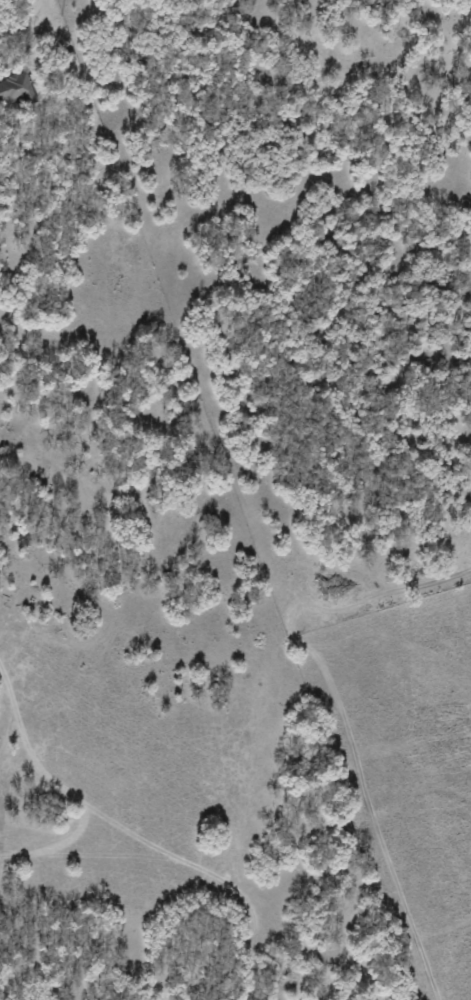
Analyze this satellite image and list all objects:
road: (41, 16)
building: (15, 88)

